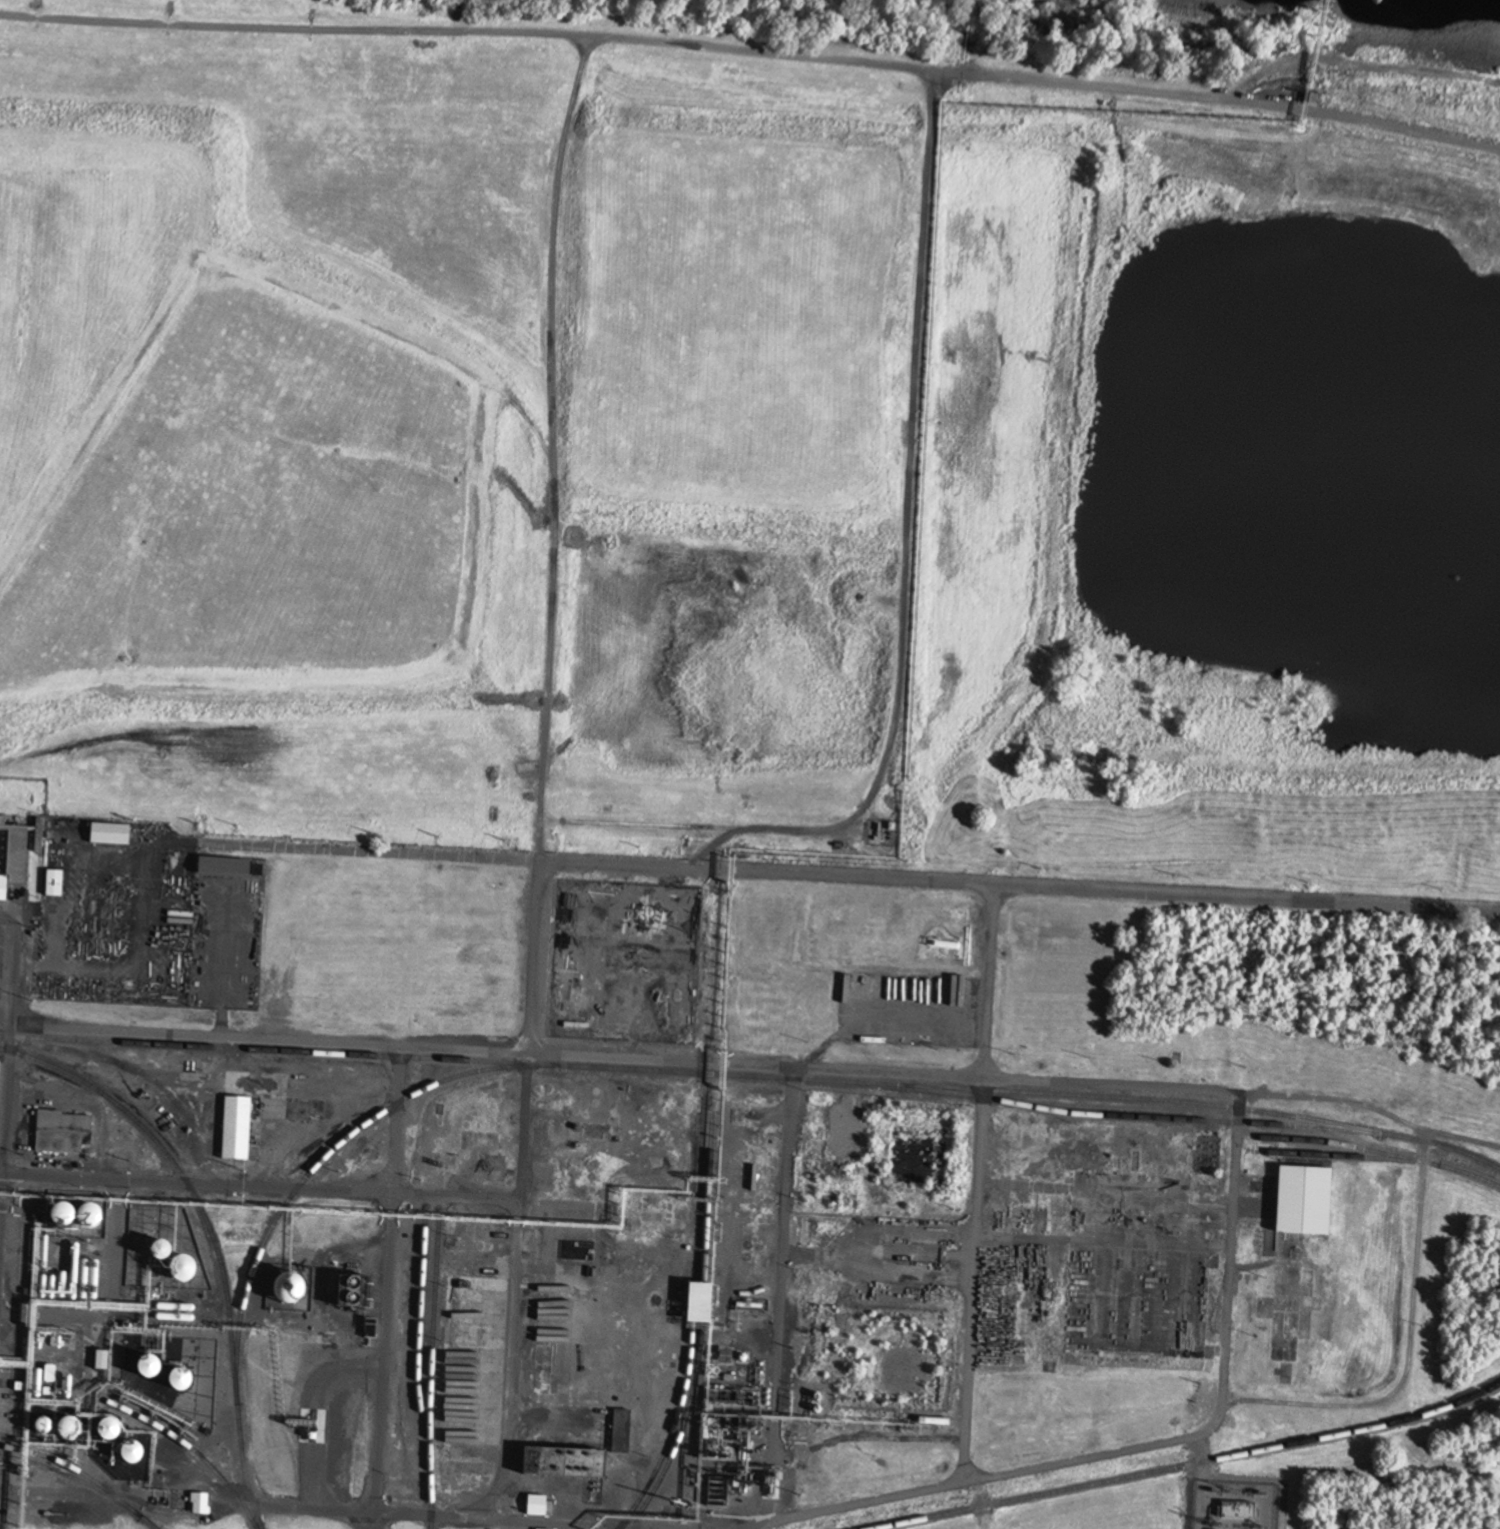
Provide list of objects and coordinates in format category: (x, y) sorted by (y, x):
road: (292, 29)
road: (631, 39)
road: (905, 539)
building: (107, 835)
building: (11, 858)
building: (221, 868)
road: (820, 876)
building: (942, 946)
road: (107, 972)
road: (400, 1049)
road: (7, 1064)
railway: (751, 1077)
railway: (1167, 1106)
building: (234, 1129)
building: (61, 1133)
building: (843, 1134)
railway: (1334, 1140)
railway: (1376, 1159)
railway: (320, 1160)
road: (975, 1184)
road: (257, 1187)
building: (1302, 1202)
building: (85, 1218)
building: (803, 1232)
railway: (210, 1238)
building: (158, 1252)
road: (511, 1264)
building: (180, 1270)
road: (1230, 1271)
road: (383, 1288)
building: (286, 1292)
building: (697, 1305)
road: (779, 1309)
railway: (690, 1319)
railway: (699, 1330)
railway: (417, 1344)
railway: (430, 1376)
building: (176, 1381)
building: (592, 1388)
building: (656, 1414)
building: (64, 1430)
building: (104, 1431)
building: (619, 1432)
railway: (186, 1447)
building: (128, 1454)
building: (561, 1464)
railway: (1184, 1465)
railway: (67, 1467)
railway: (80, 1483)
building: (715, 1493)
road: (249, 1506)
power substation: (1234, 1506)
building: (1236, 1510)

